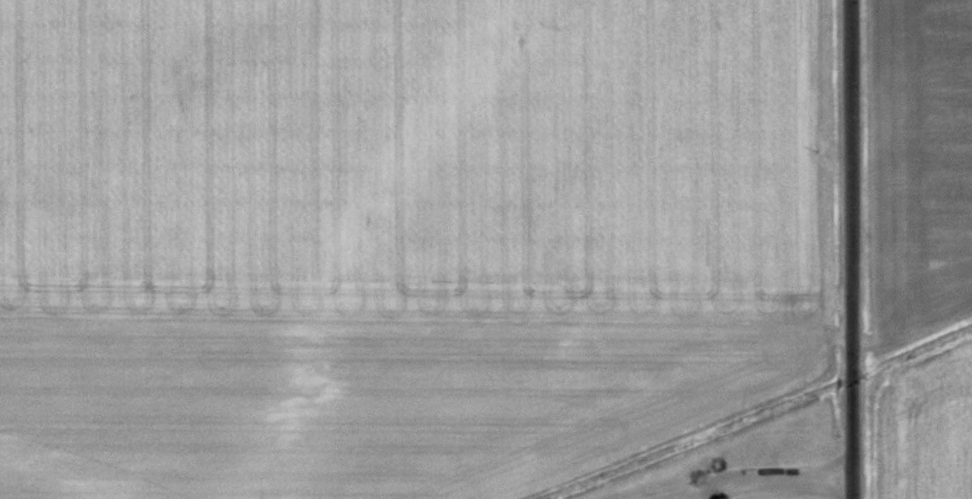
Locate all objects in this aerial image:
road: (851, 249)

